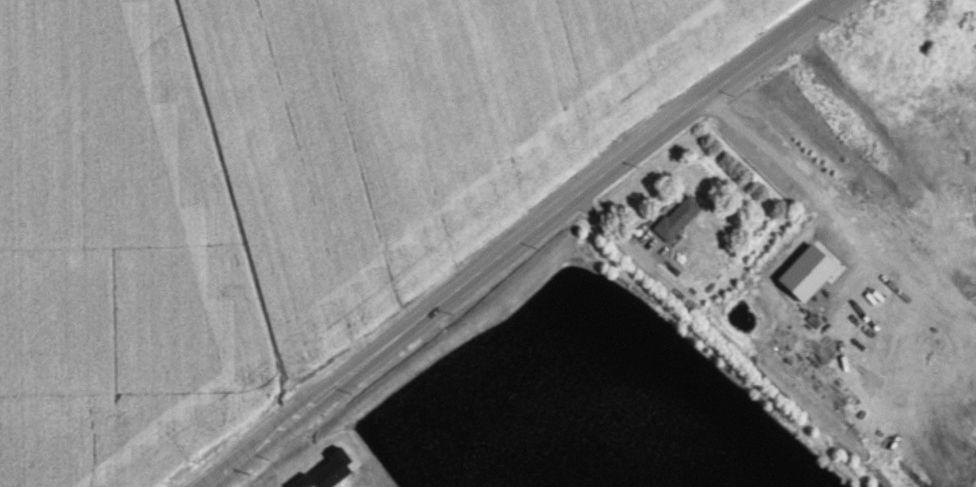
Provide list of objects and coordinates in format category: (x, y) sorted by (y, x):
road: (774, 161)
building: (676, 217)
road: (521, 242)
building: (805, 272)
building: (325, 471)

